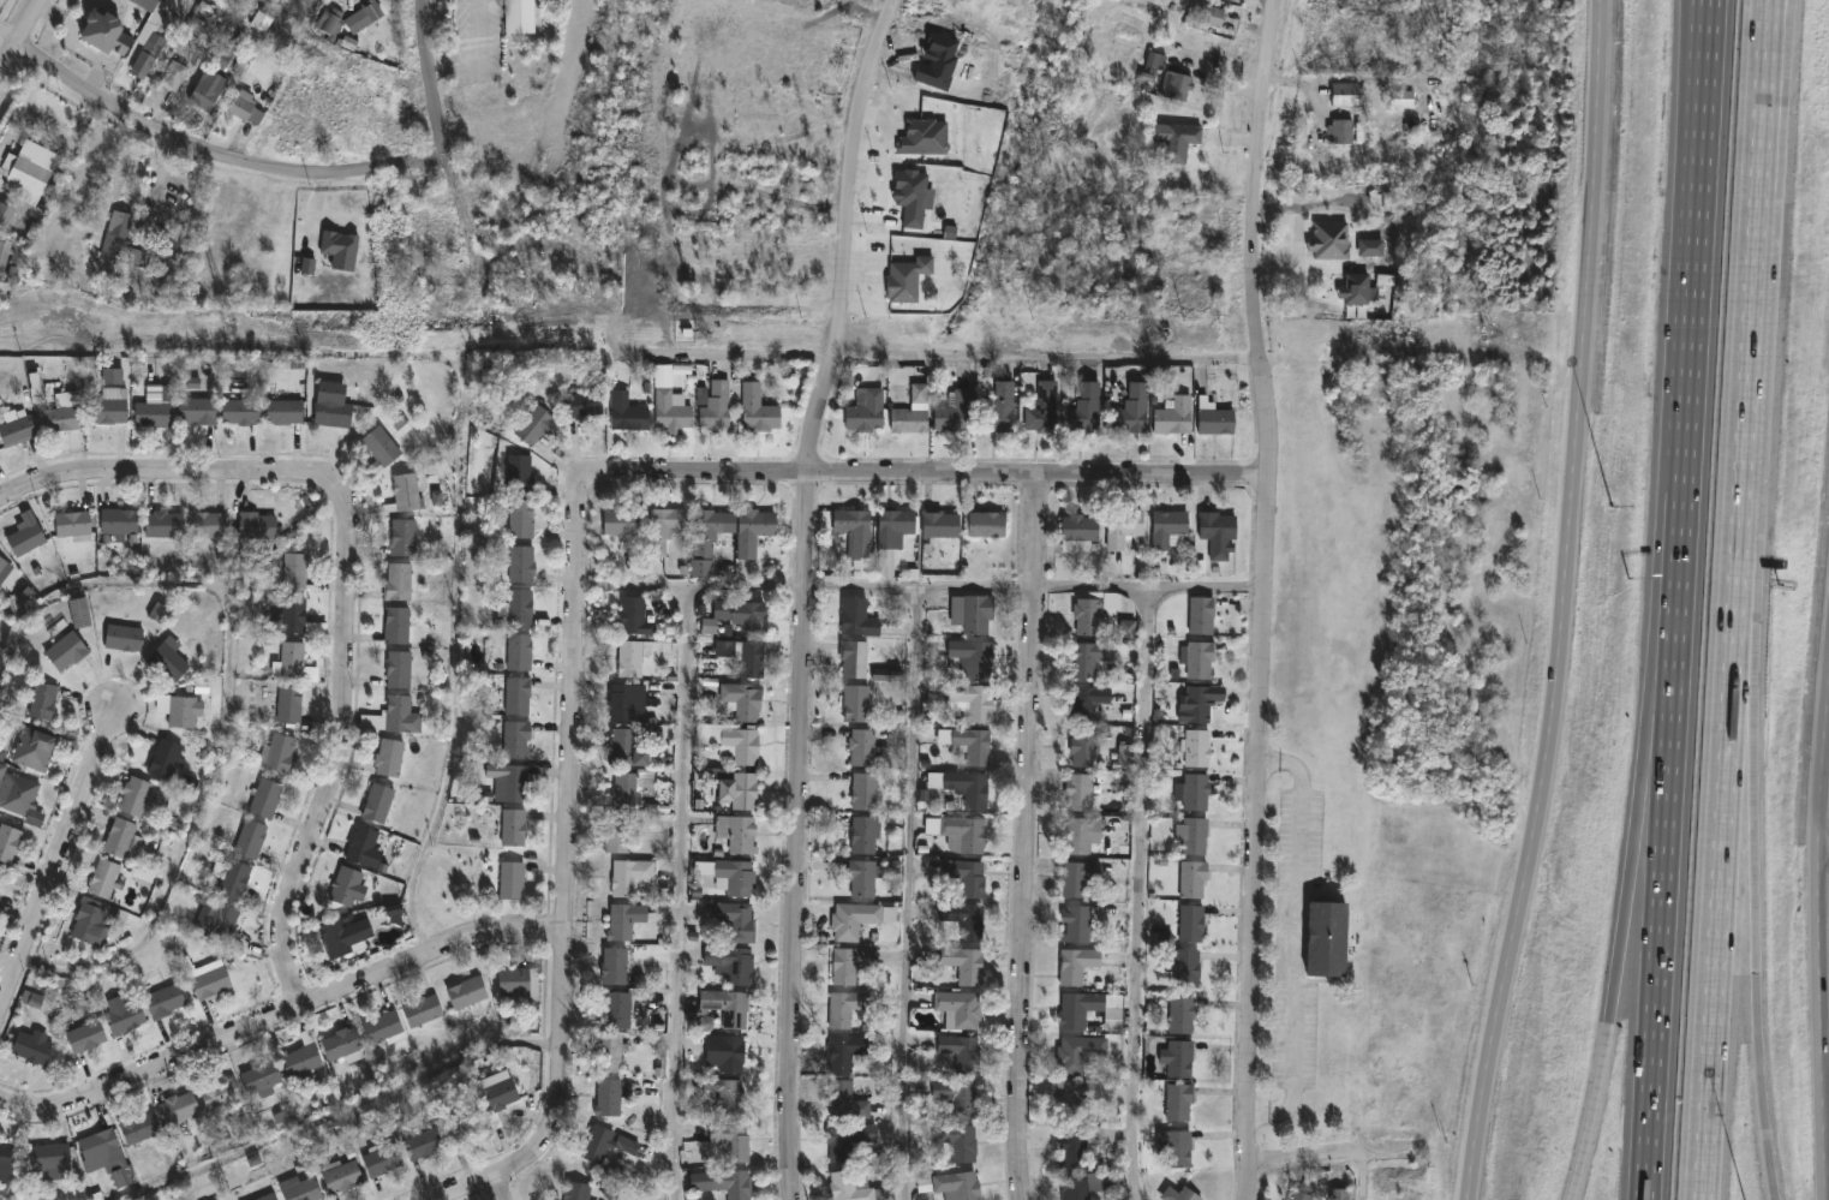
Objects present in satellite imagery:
road: (1770, 12)
road: (1774, 12)
building: (1211, 14)
building: (520, 16)
building: (349, 17)
road: (11, 31)
building: (104, 31)
building: (149, 36)
road: (20, 37)
road: (477, 53)
building: (174, 74)
building: (1177, 84)
building: (207, 89)
building: (1347, 94)
building: (1404, 98)
building: (245, 107)
road: (435, 107)
building: (1343, 130)
building: (1177, 139)
road: (217, 159)
building: (31, 169)
building: (7, 215)
building: (418, 227)
building: (118, 232)
road: (850, 235)
road: (1257, 237)
building: (1332, 241)
building: (168, 245)
building: (4, 253)
building: (328, 270)
building: (450, 288)
power tower: (228, 332)
power tower: (713, 334)
power tower: (1500, 334)
road: (944, 353)
road: (1691, 359)
road: (1751, 362)
building: (584, 404)
building: (670, 405)
building: (717, 405)
building: (109, 406)
building: (1088, 406)
building: (155, 407)
building: (759, 408)
building: (867, 408)
building: (1000, 408)
building: (1044, 408)
building: (1135, 408)
building: (197, 410)
building: (240, 411)
building: (283, 411)
building: (956, 411)
building: (62, 412)
building: (333, 412)
building: (628, 412)
building: (913, 412)
building: (1176, 416)
building: (1214, 417)
building: (533, 425)
building: (17, 429)
road: (466, 429)
building: (379, 449)
building: (0, 452)
road: (931, 472)
building: (520, 473)
building: (405, 492)
building: (521, 519)
building: (119, 521)
building: (621, 521)
building: (72, 524)
building: (162, 524)
building: (208, 524)
building: (940, 524)
building: (986, 524)
building: (256, 525)
building: (895, 527)
building: (1081, 527)
building: (665, 529)
building: (855, 529)
building: (1123, 529)
building: (1170, 529)
building: (753, 531)
building: (1219, 532)
building: (26, 533)
building: (404, 537)
building: (711, 538)
building: (519, 565)
building: (4, 568)
building: (294, 569)
road: (341, 579)
building: (399, 581)
building: (0, 585)
road: (925, 586)
road: (1567, 602)
building: (518, 608)
building: (973, 611)
building: (1095, 611)
building: (79, 613)
building: (293, 614)
building: (741, 614)
building: (1202, 614)
building: (632, 615)
building: (859, 615)
building: (396, 625)
building: (122, 637)
building: (66, 650)
building: (519, 650)
building: (634, 655)
building: (973, 655)
building: (1095, 655)
building: (743, 656)
building: (855, 656)
building: (293, 657)
building: (1197, 657)
building: (168, 661)
building: (399, 667)
building: (518, 694)
building: (42, 698)
building: (626, 699)
building: (742, 699)
building: (972, 699)
building: (857, 700)
building: (1088, 700)
building: (289, 702)
building: (1196, 703)
building: (183, 710)
building: (402, 712)
road: (229, 718)
building: (516, 736)
building: (742, 742)
building: (969, 742)
building: (629, 744)
building: (865, 746)
building: (1084, 746)
building: (34, 747)
building: (1195, 747)
building: (281, 750)
building: (390, 754)
road: (1744, 754)
building: (166, 756)
road: (1655, 771)
building: (515, 781)
building: (964, 784)
building: (630, 786)
building: (735, 786)
building: (1194, 788)
building: (865, 789)
building: (1078, 789)
building: (17, 792)
building: (135, 794)
building: (265, 795)
building: (378, 801)
building: (514, 826)
building: (616, 831)
building: (960, 831)
building: (736, 832)
building: (865, 832)
building: (1082, 832)
building: (1193, 834)
road: (1028, 835)
building: (121, 836)
building: (250, 837)
road: (802, 837)
road: (1260, 837)
building: (8, 841)
building: (361, 842)
road: (1824, 846)
road: (54, 862)
building: (0, 873)
road: (568, 873)
building: (730, 873)
building: (968, 874)
building: (1078, 874)
building: (624, 876)
building: (865, 876)
building: (104, 877)
building: (1193, 877)
building: (235, 878)
building: (512, 878)
building: (346, 884)
road: (911, 892)
road: (680, 894)
road: (1140, 895)
building: (0, 897)
building: (859, 917)
building: (966, 918)
building: (92, 919)
building: (737, 919)
building: (620, 920)
building: (223, 921)
building: (1080, 921)
building: (1193, 921)
building: (345, 935)
building: (1328, 936)
road: (1296, 937)
road: (1716, 950)
road: (1821, 953)
road: (1657, 959)
building: (730, 961)
building: (851, 962)
building: (614, 963)
building: (966, 963)
building: (1077, 963)
building: (1185, 963)
building: (514, 979)
building: (210, 980)
building: (467, 991)
building: (166, 999)
road: (1758, 1004)
building: (725, 1005)
building: (1086, 1005)
building: (844, 1007)
building: (961, 1007)
building: (423, 1009)
building: (617, 1009)
road: (281, 1011)
building: (1183, 1013)
road: (1612, 1013)
building: (126, 1016)
building: (383, 1027)
building: (85, 1034)
building: (341, 1041)
building: (30, 1046)
building: (848, 1050)
building: (963, 1050)
building: (610, 1051)
building: (725, 1051)
building: (1081, 1051)
building: (1179, 1056)
building: (301, 1057)
building: (261, 1077)
building: (217, 1091)
building: (497, 1093)
building: (1074, 1094)
building: (608, 1095)
building: (958, 1095)
building: (730, 1097)
building: (847, 1100)
building: (1179, 1100)
road: (349, 1111)
building: (178, 1114)
building: (138, 1126)
building: (464, 1126)
building: (849, 1136)
building: (733, 1140)
building: (98, 1142)
building: (423, 1142)
building: (605, 1142)
building: (964, 1142)
building: (1075, 1147)
building: (1179, 1147)
building: (7, 1154)
building: (382, 1157)
building: (49, 1159)
road: (1340, 1159)
building: (342, 1175)
road: (1369, 1178)
building: (724, 1182)
building: (958, 1184)
road: (501, 1187)
building: (856, 1187)
building: (301, 1188)
building: (1082, 1189)
building: (576, 1190)
building: (1340, 1193)
building: (1188, 1194)
building: (1301, 1195)
building: (267, 1196)
building: (217, 1199)

